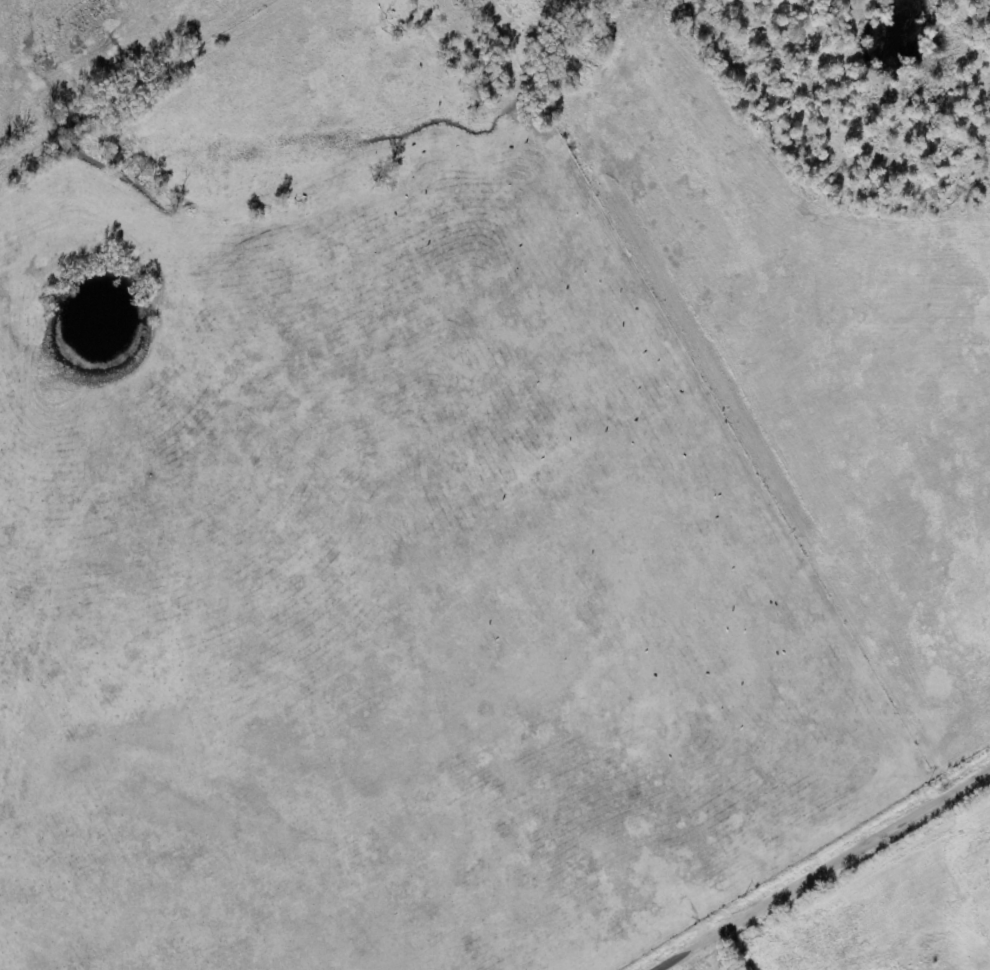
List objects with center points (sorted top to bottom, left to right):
road: (828, 873)

